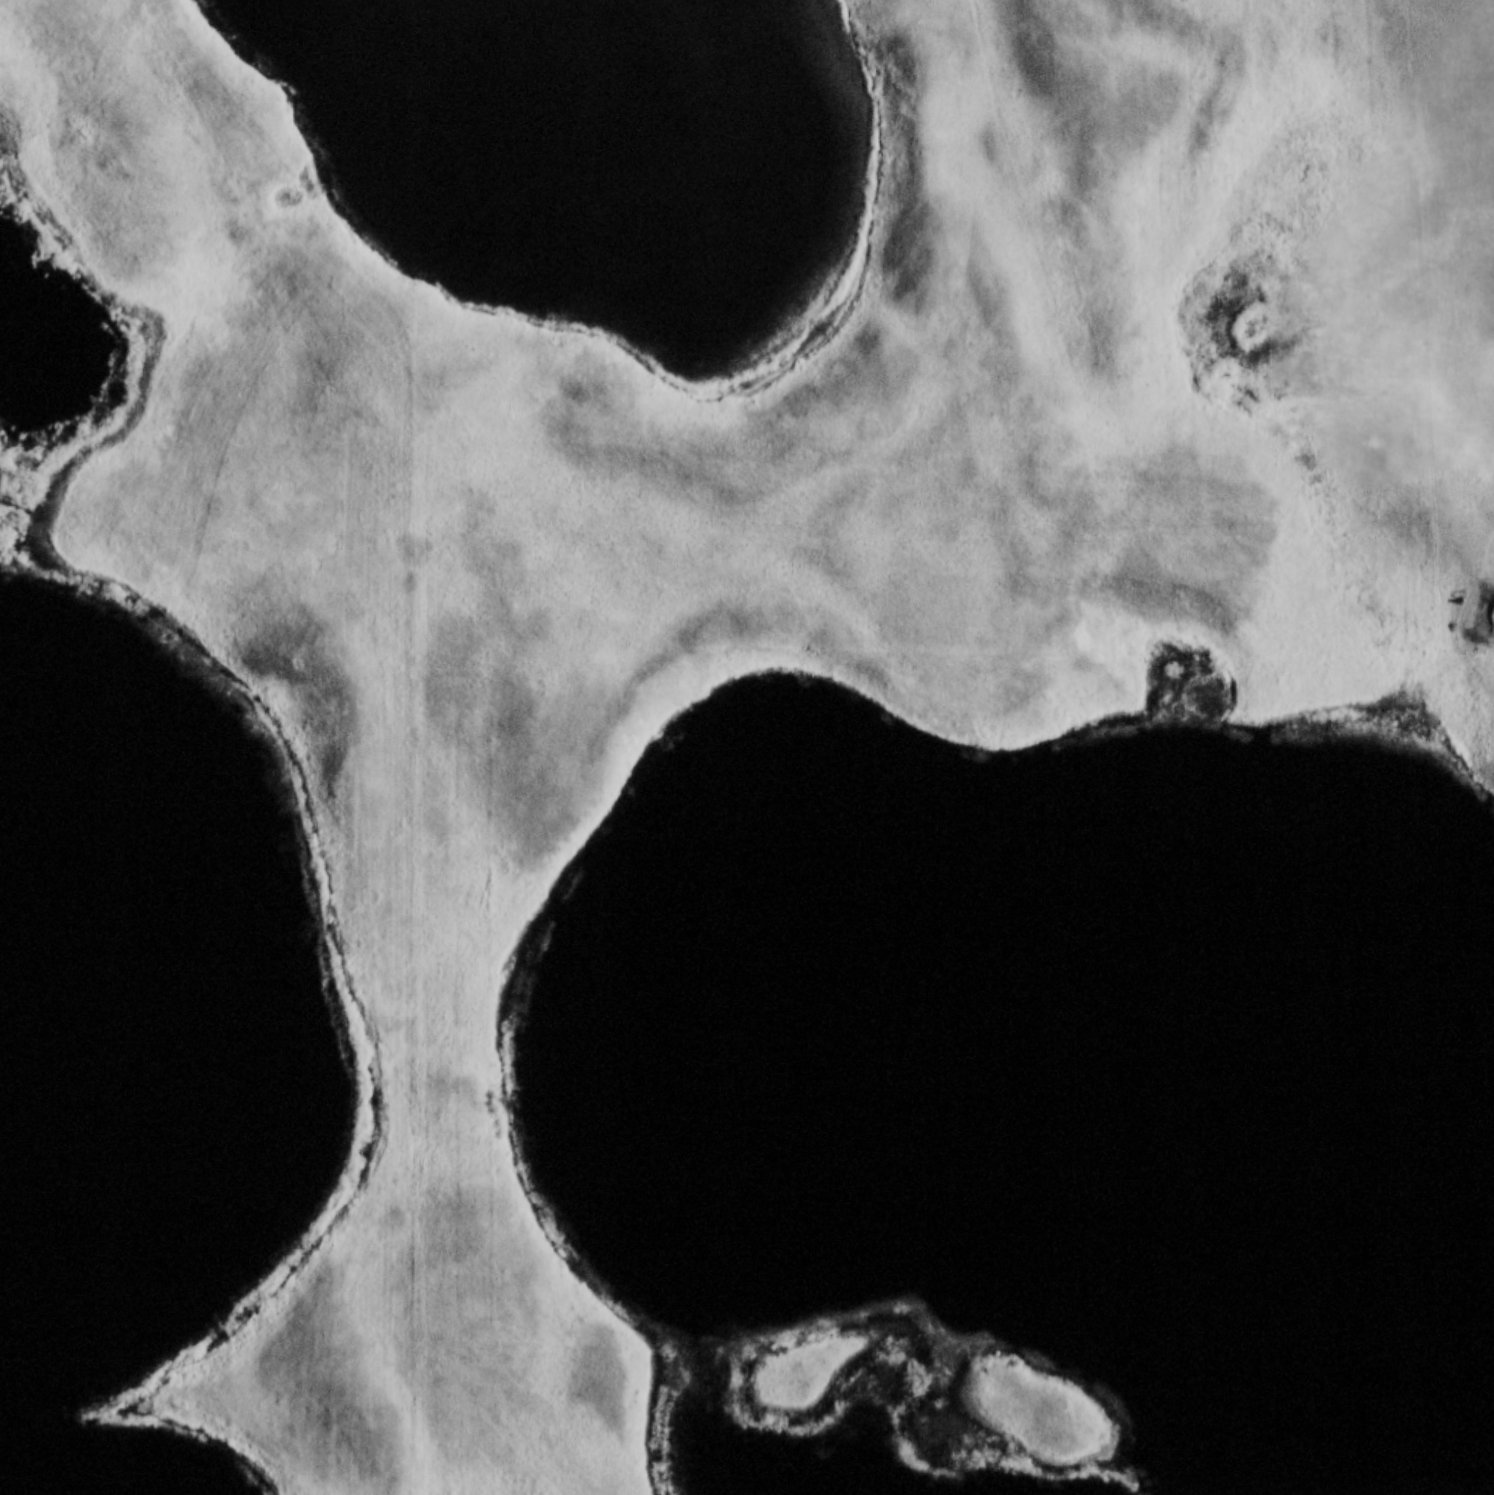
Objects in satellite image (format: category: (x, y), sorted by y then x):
road: (1416, 358)

